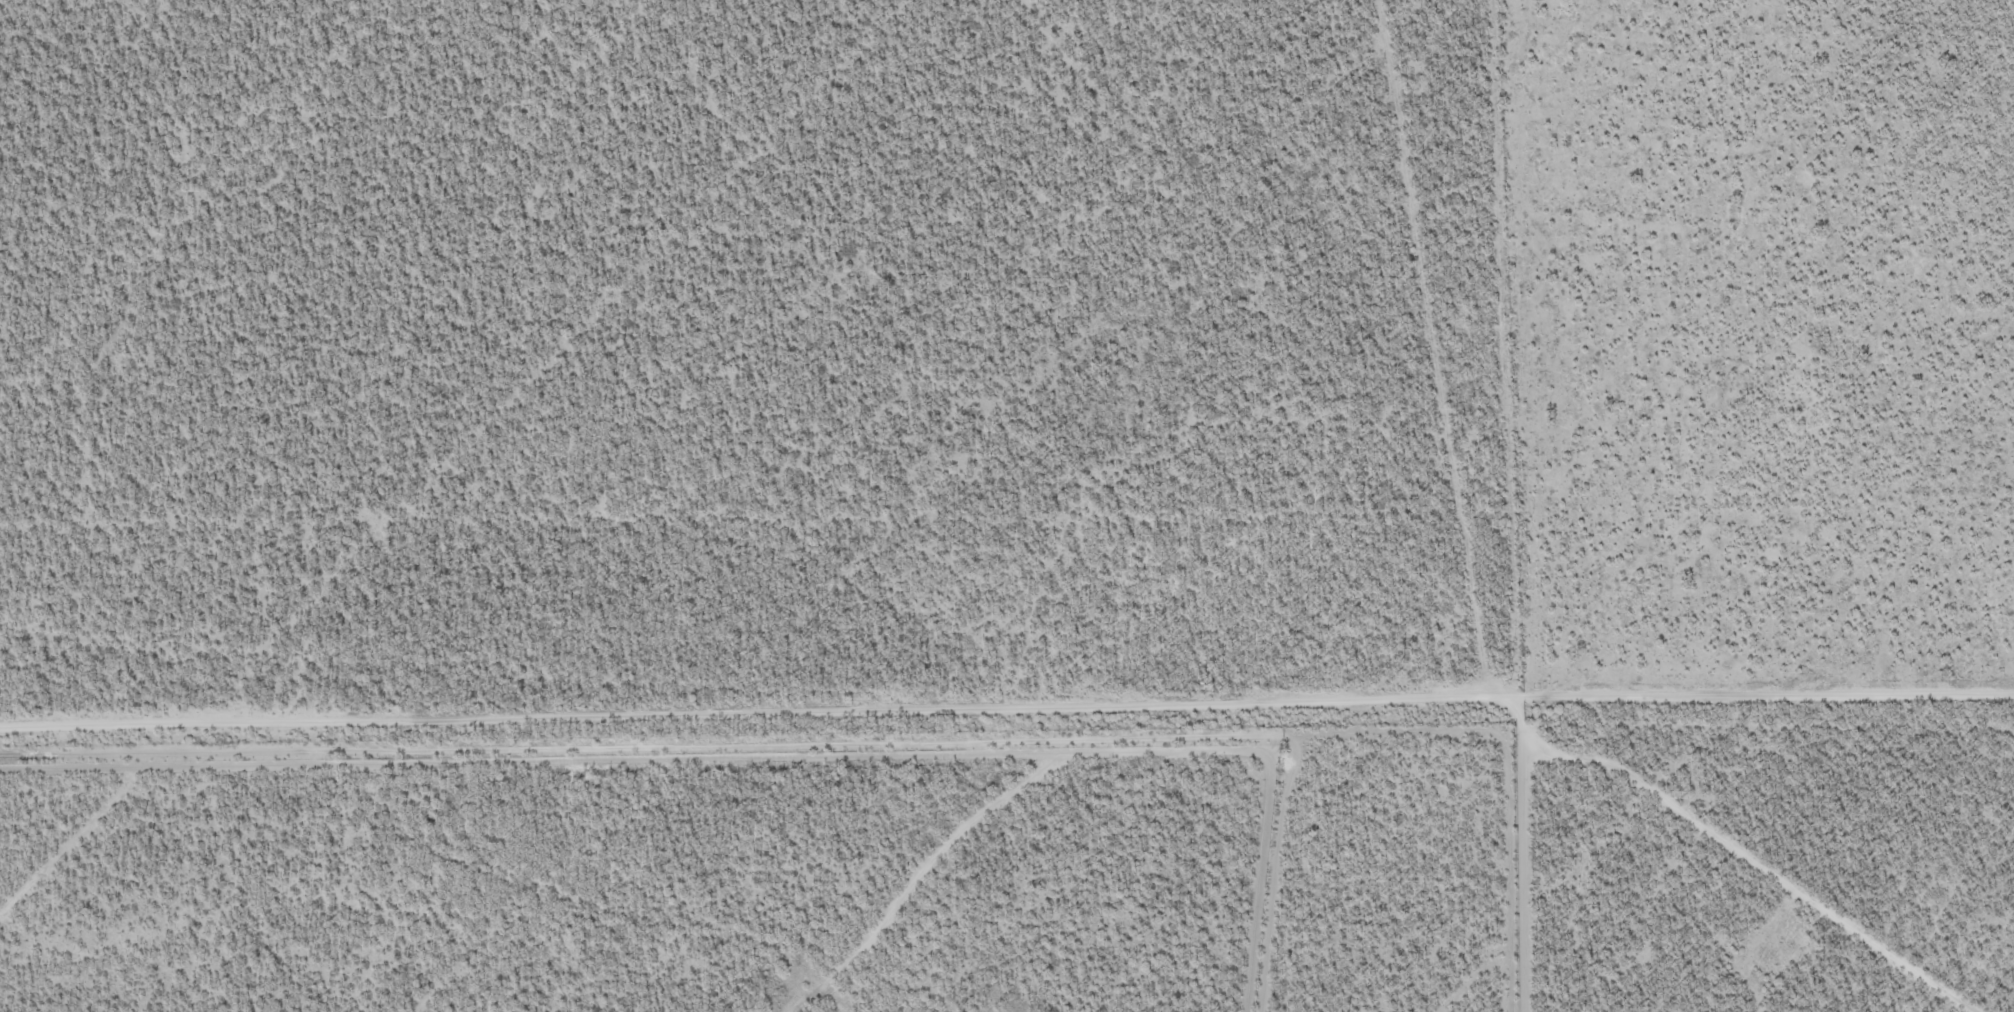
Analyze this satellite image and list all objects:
road: (1006, 708)
road: (1589, 847)
road: (1680, 862)
airport: (637, 875)

